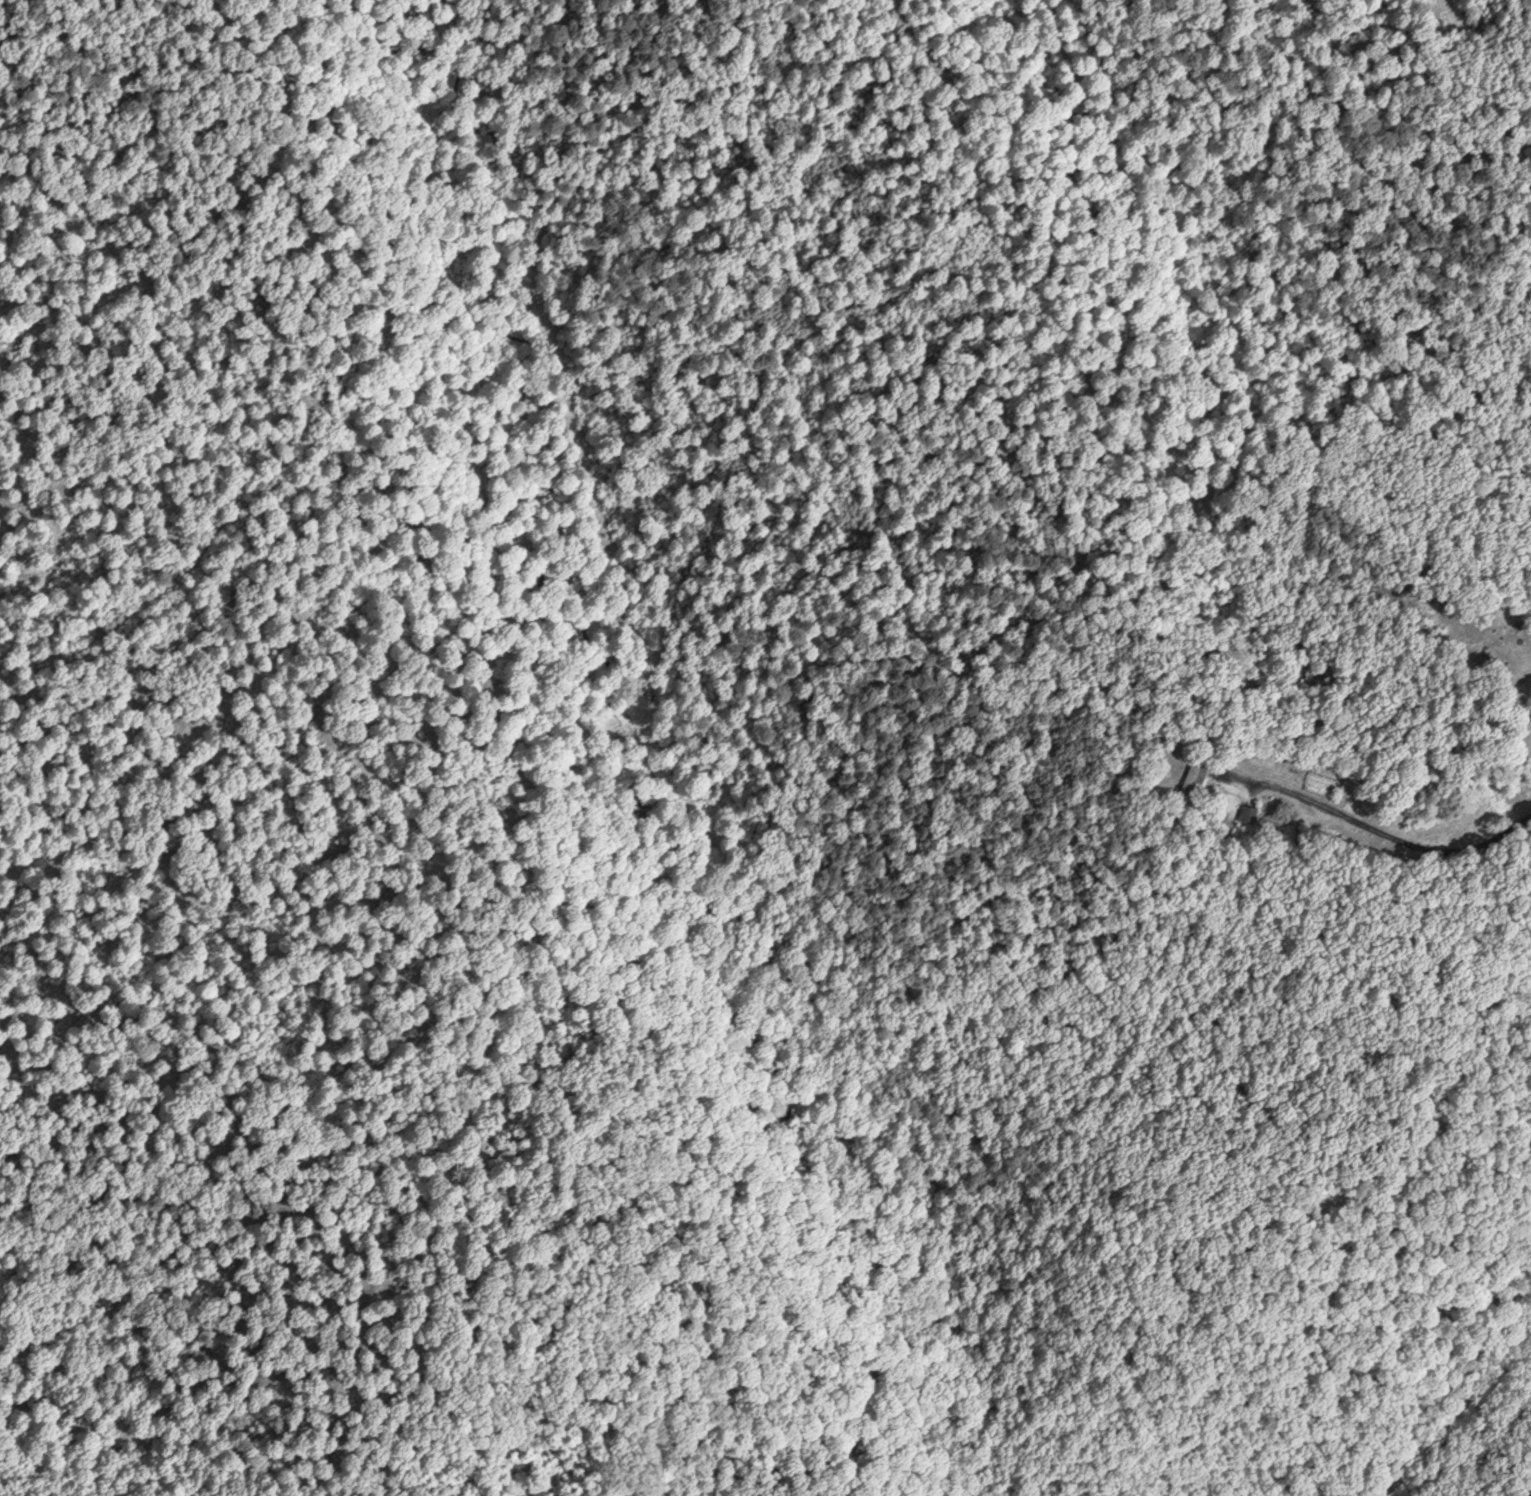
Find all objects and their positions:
building: (1529, 150)
building: (1192, 777)
building: (1250, 811)

